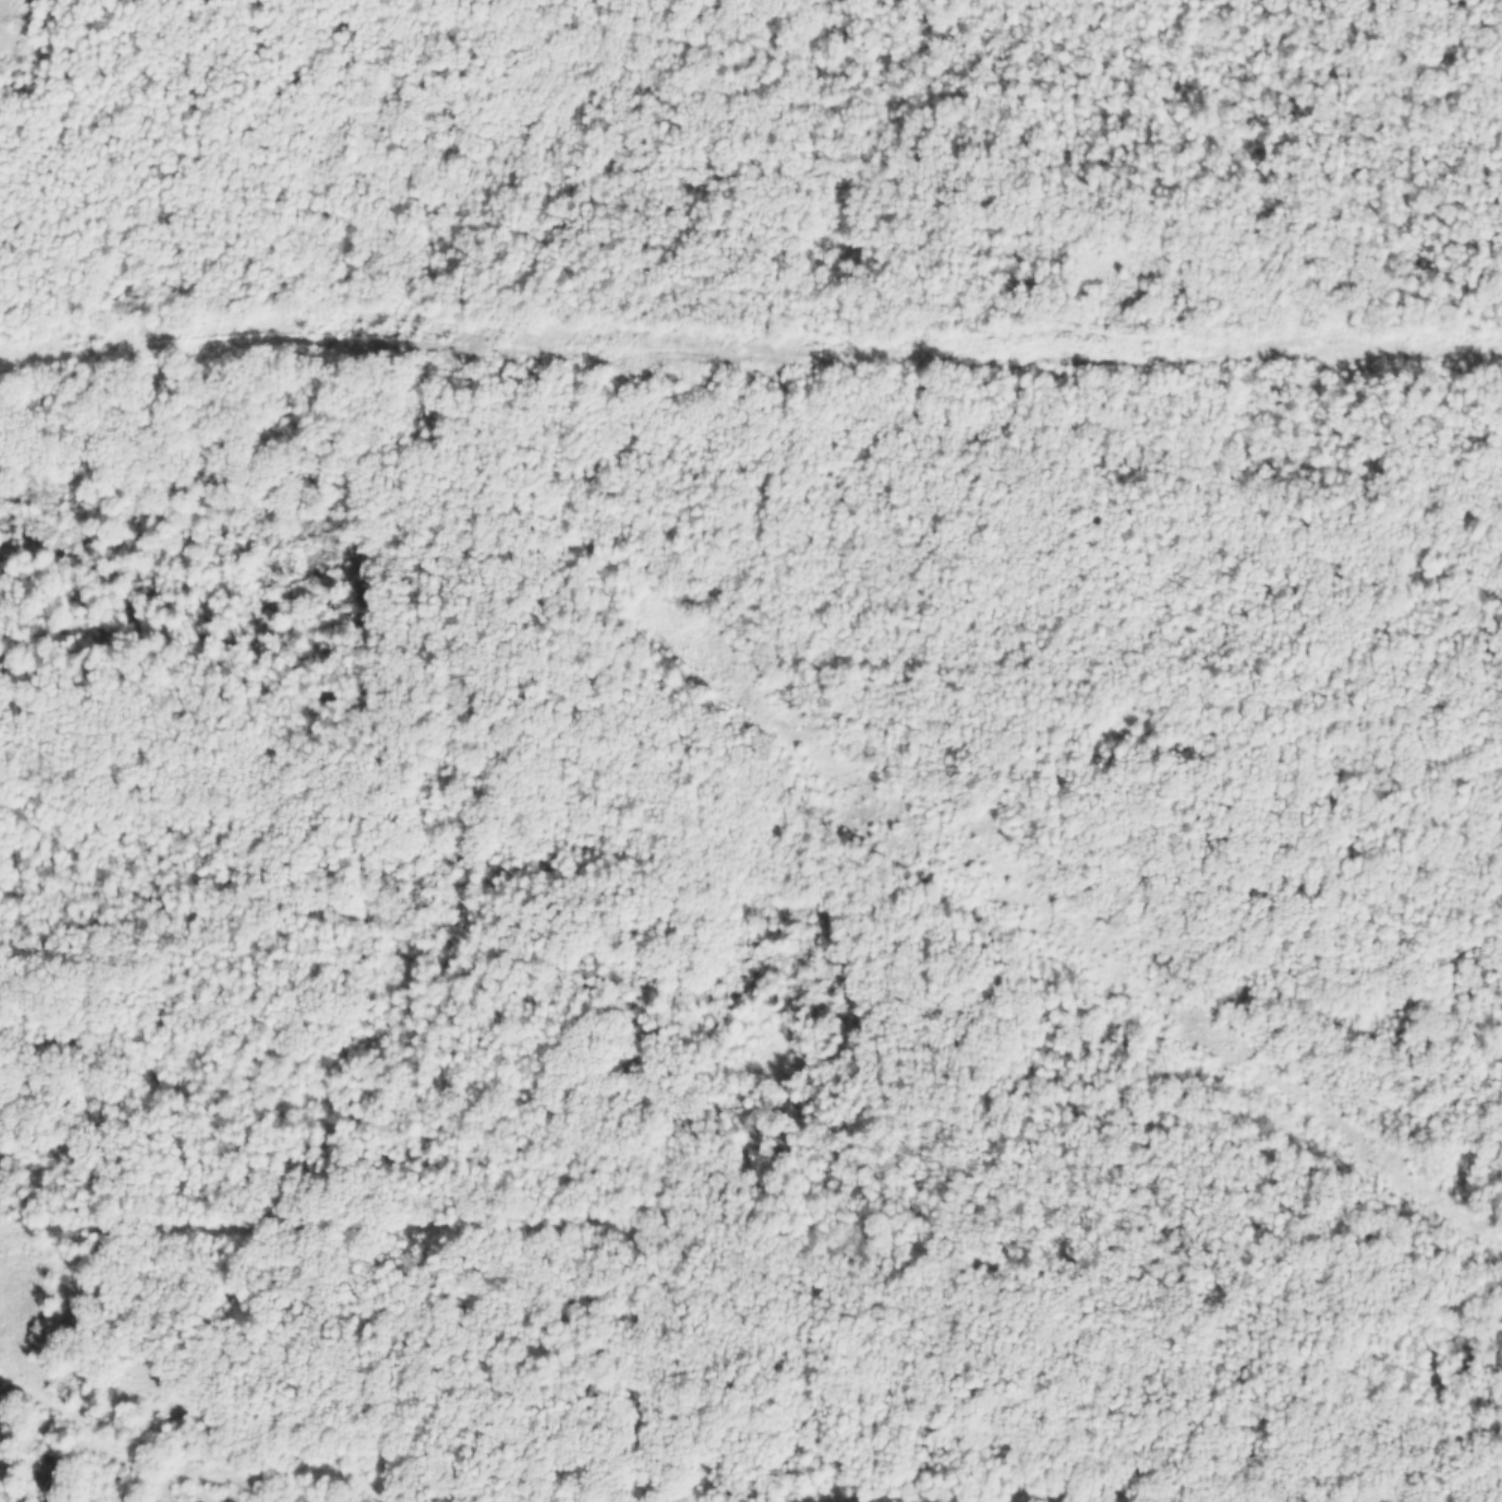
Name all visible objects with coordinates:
road: (1472, 23)

